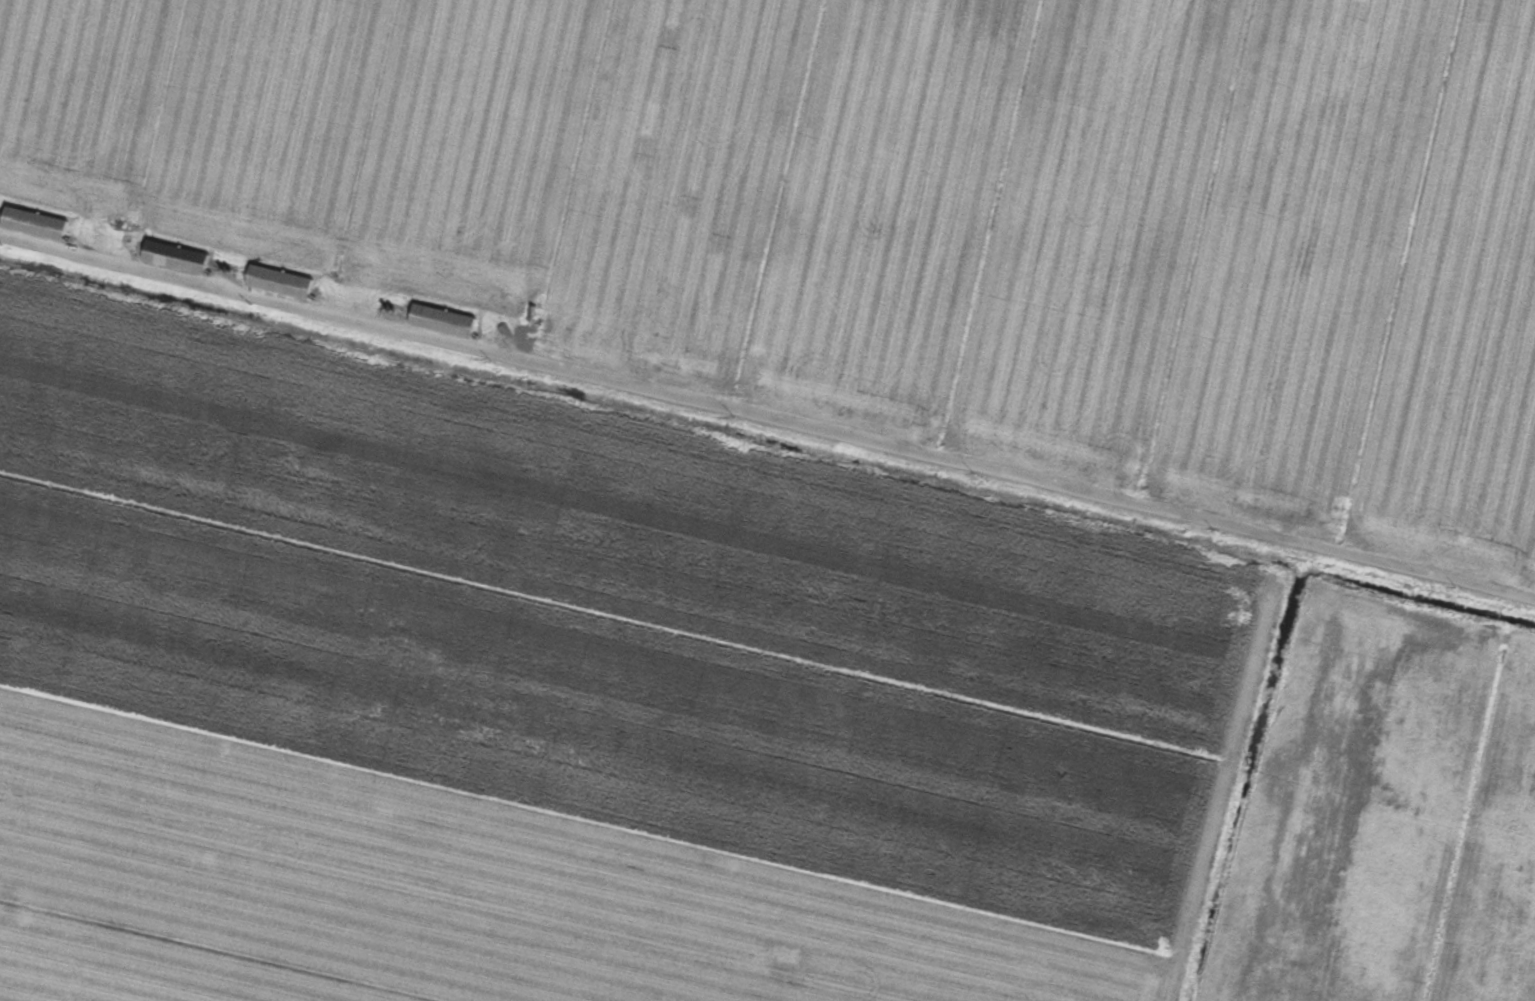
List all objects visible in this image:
building: (38, 224)
building: (179, 258)
building: (283, 282)
building: (446, 321)
road: (767, 414)

